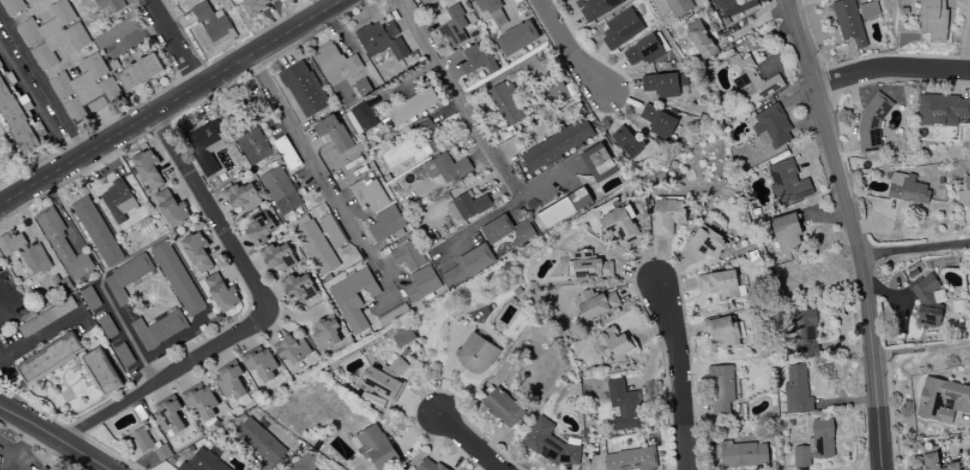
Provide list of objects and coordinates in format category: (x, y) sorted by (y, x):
building: (425, 1)
building: (109, 4)
building: (13, 6)
building: (255, 6)
building: (679, 7)
building: (598, 8)
building: (869, 10)
building: (493, 11)
building: (934, 20)
building: (212, 21)
building: (849, 22)
building: (453, 26)
building: (622, 29)
building: (53, 35)
road: (968, 36)
building: (517, 39)
building: (701, 39)
building: (102, 41)
building: (383, 41)
road: (174, 43)
road: (568, 49)
building: (645, 51)
building: (478, 60)
building: (336, 64)
road: (891, 71)
building: (140, 72)
building: (753, 81)
building: (664, 84)
building: (85, 88)
building: (304, 89)
road: (39, 91)
road: (458, 95)
road: (171, 102)
building: (506, 105)
building: (253, 106)
building: (413, 107)
building: (943, 110)
building: (17, 119)
building: (361, 119)
building: (659, 121)
building: (772, 129)
building: (334, 133)
building: (428, 137)
building: (557, 145)
building: (631, 145)
building: (254, 147)
building: (206, 148)
building: (599, 163)
building: (447, 168)
building: (149, 170)
road: (330, 181)
building: (787, 183)
building: (967, 183)
building: (907, 189)
building: (280, 191)
building: (369, 194)
building: (243, 197)
building: (119, 201)
building: (467, 207)
building: (172, 209)
building: (564, 209)
building: (317, 214)
building: (668, 216)
building: (387, 225)
building: (619, 225)
building: (260, 227)
building: (98, 231)
building: (333, 231)
building: (508, 231)
road: (852, 231)
building: (788, 234)
building: (12, 244)
building: (706, 244)
building: (314, 245)
building: (64, 247)
road: (915, 248)
building: (198, 254)
building: (408, 256)
building: (278, 257)
building: (36, 260)
building: (469, 265)
building: (589, 267)
building: (128, 273)
building: (178, 278)
road: (397, 280)
building: (720, 284)
building: (422, 285)
building: (300, 288)
building: (222, 294)
building: (352, 299)
building: (596, 304)
building: (927, 304)
road: (4, 308)
road: (259, 315)
building: (396, 315)
building: (47, 317)
road: (127, 332)
building: (725, 332)
building: (806, 334)
building: (327, 335)
road: (41, 336)
building: (403, 338)
building: (616, 344)
road: (921, 349)
building: (293, 350)
building: (477, 355)
building: (51, 359)
building: (262, 366)
building: (102, 372)
road: (678, 375)
building: (386, 380)
building: (232, 384)
building: (722, 391)
building: (797, 391)
building: (942, 400)
building: (202, 403)
building: (623, 406)
building: (504, 408)
building: (170, 418)
road: (53, 437)
building: (143, 440)
building: (261, 441)
building: (550, 443)
road: (469, 444)
building: (817, 444)
building: (376, 447)
road: (24, 448)
building: (744, 454)
building: (0, 456)
building: (632, 460)
building: (203, 462)
building: (937, 463)
building: (430, 465)
building: (45, 468)
building: (317, 468)
road: (101, 469)

